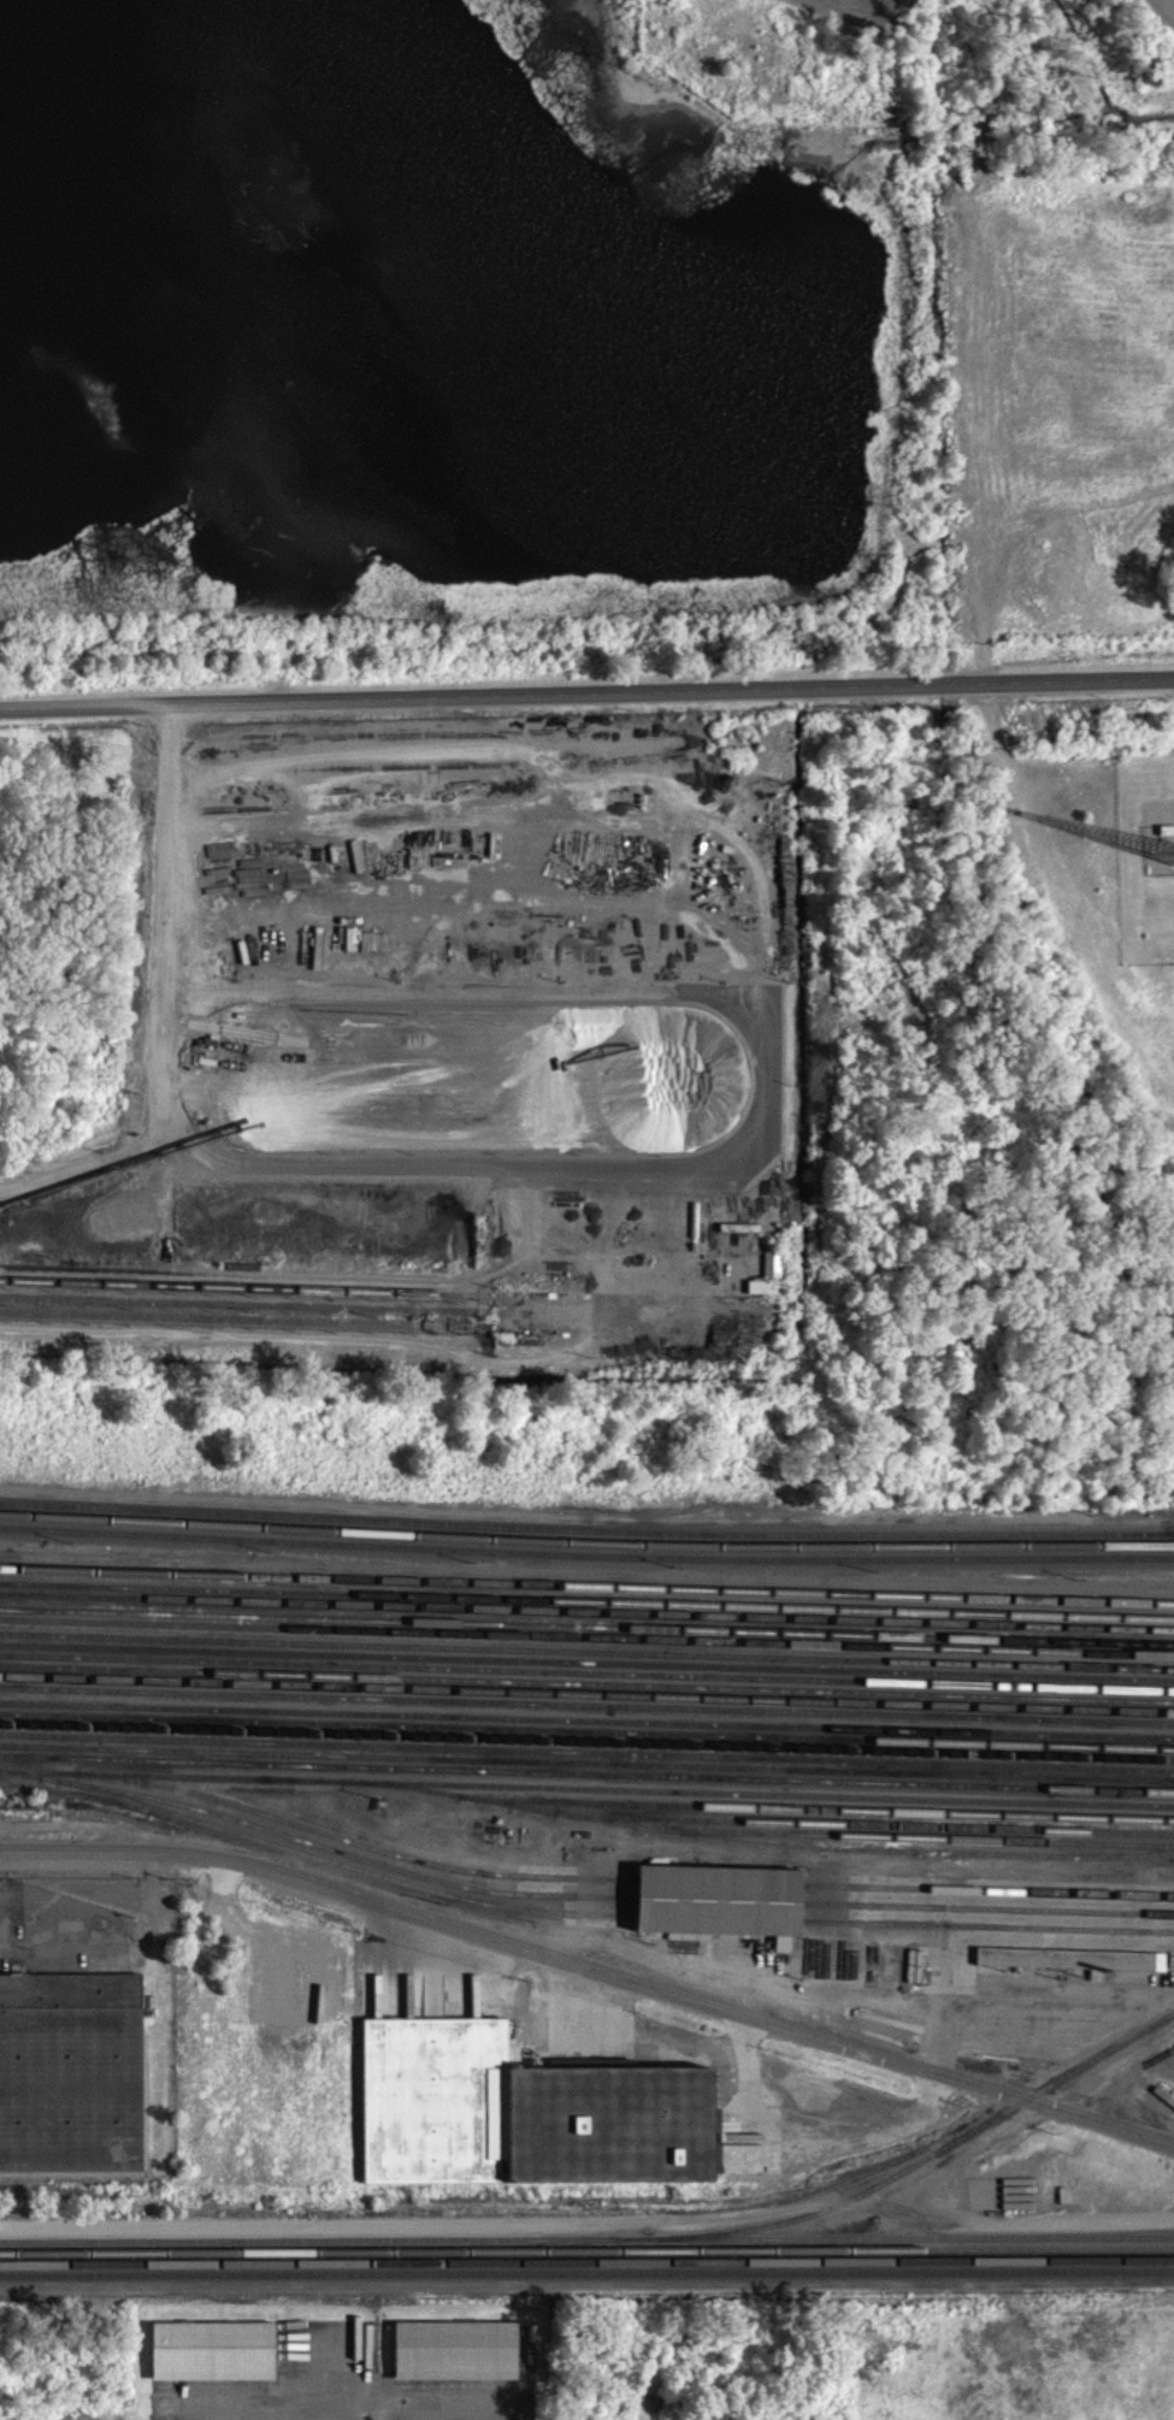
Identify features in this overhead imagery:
road: (586, 696)
road: (161, 886)
building: (771, 1281)
railway: (246, 1287)
railway: (242, 1303)
railway: (244, 1320)
railway: (586, 1535)
railway: (586, 1541)
railway: (586, 1553)
railway: (586, 1565)
road: (586, 1584)
railway: (586, 1598)
railway: (586, 1612)
railway: (586, 1623)
railway: (586, 1636)
railway: (586, 1647)
railway: (586, 1663)
railway: (586, 1672)
railway: (586, 1683)
railway: (586, 1694)
railway: (586, 1706)
railway: (586, 1716)
railway: (586, 1730)
railway: (586, 1741)
railway: (586, 1752)
railway: (586, 1764)
railway: (586, 1772)
railway: (586, 1783)
railway: (586, 1799)
railway: (818, 1820)
railway: (867, 1835)
railway: (905, 1849)
railway: (355, 1852)
railway: (318, 1854)
railway: (756, 1854)
railway: (346, 1875)
railway: (720, 1894)
railway: (987, 1901)
building: (720, 1910)
railway: (720, 1911)
railway: (987, 1918)
railway: (719, 1929)
railway: (987, 1935)
railway: (590, 1940)
road: (591, 1970)
building: (1075, 1970)
railway: (1163, 2031)
road: (649, 2035)
building: (70, 2071)
building: (519, 2109)
railway: (927, 2168)
railway: (872, 2183)
railway: (757, 2184)
railway: (586, 2237)
railway: (543, 2243)
railway: (586, 2248)
railway: (586, 2260)
railway: (586, 2271)
building: (214, 2361)
building: (458, 2361)
road: (358, 2407)
road: (501, 2419)

